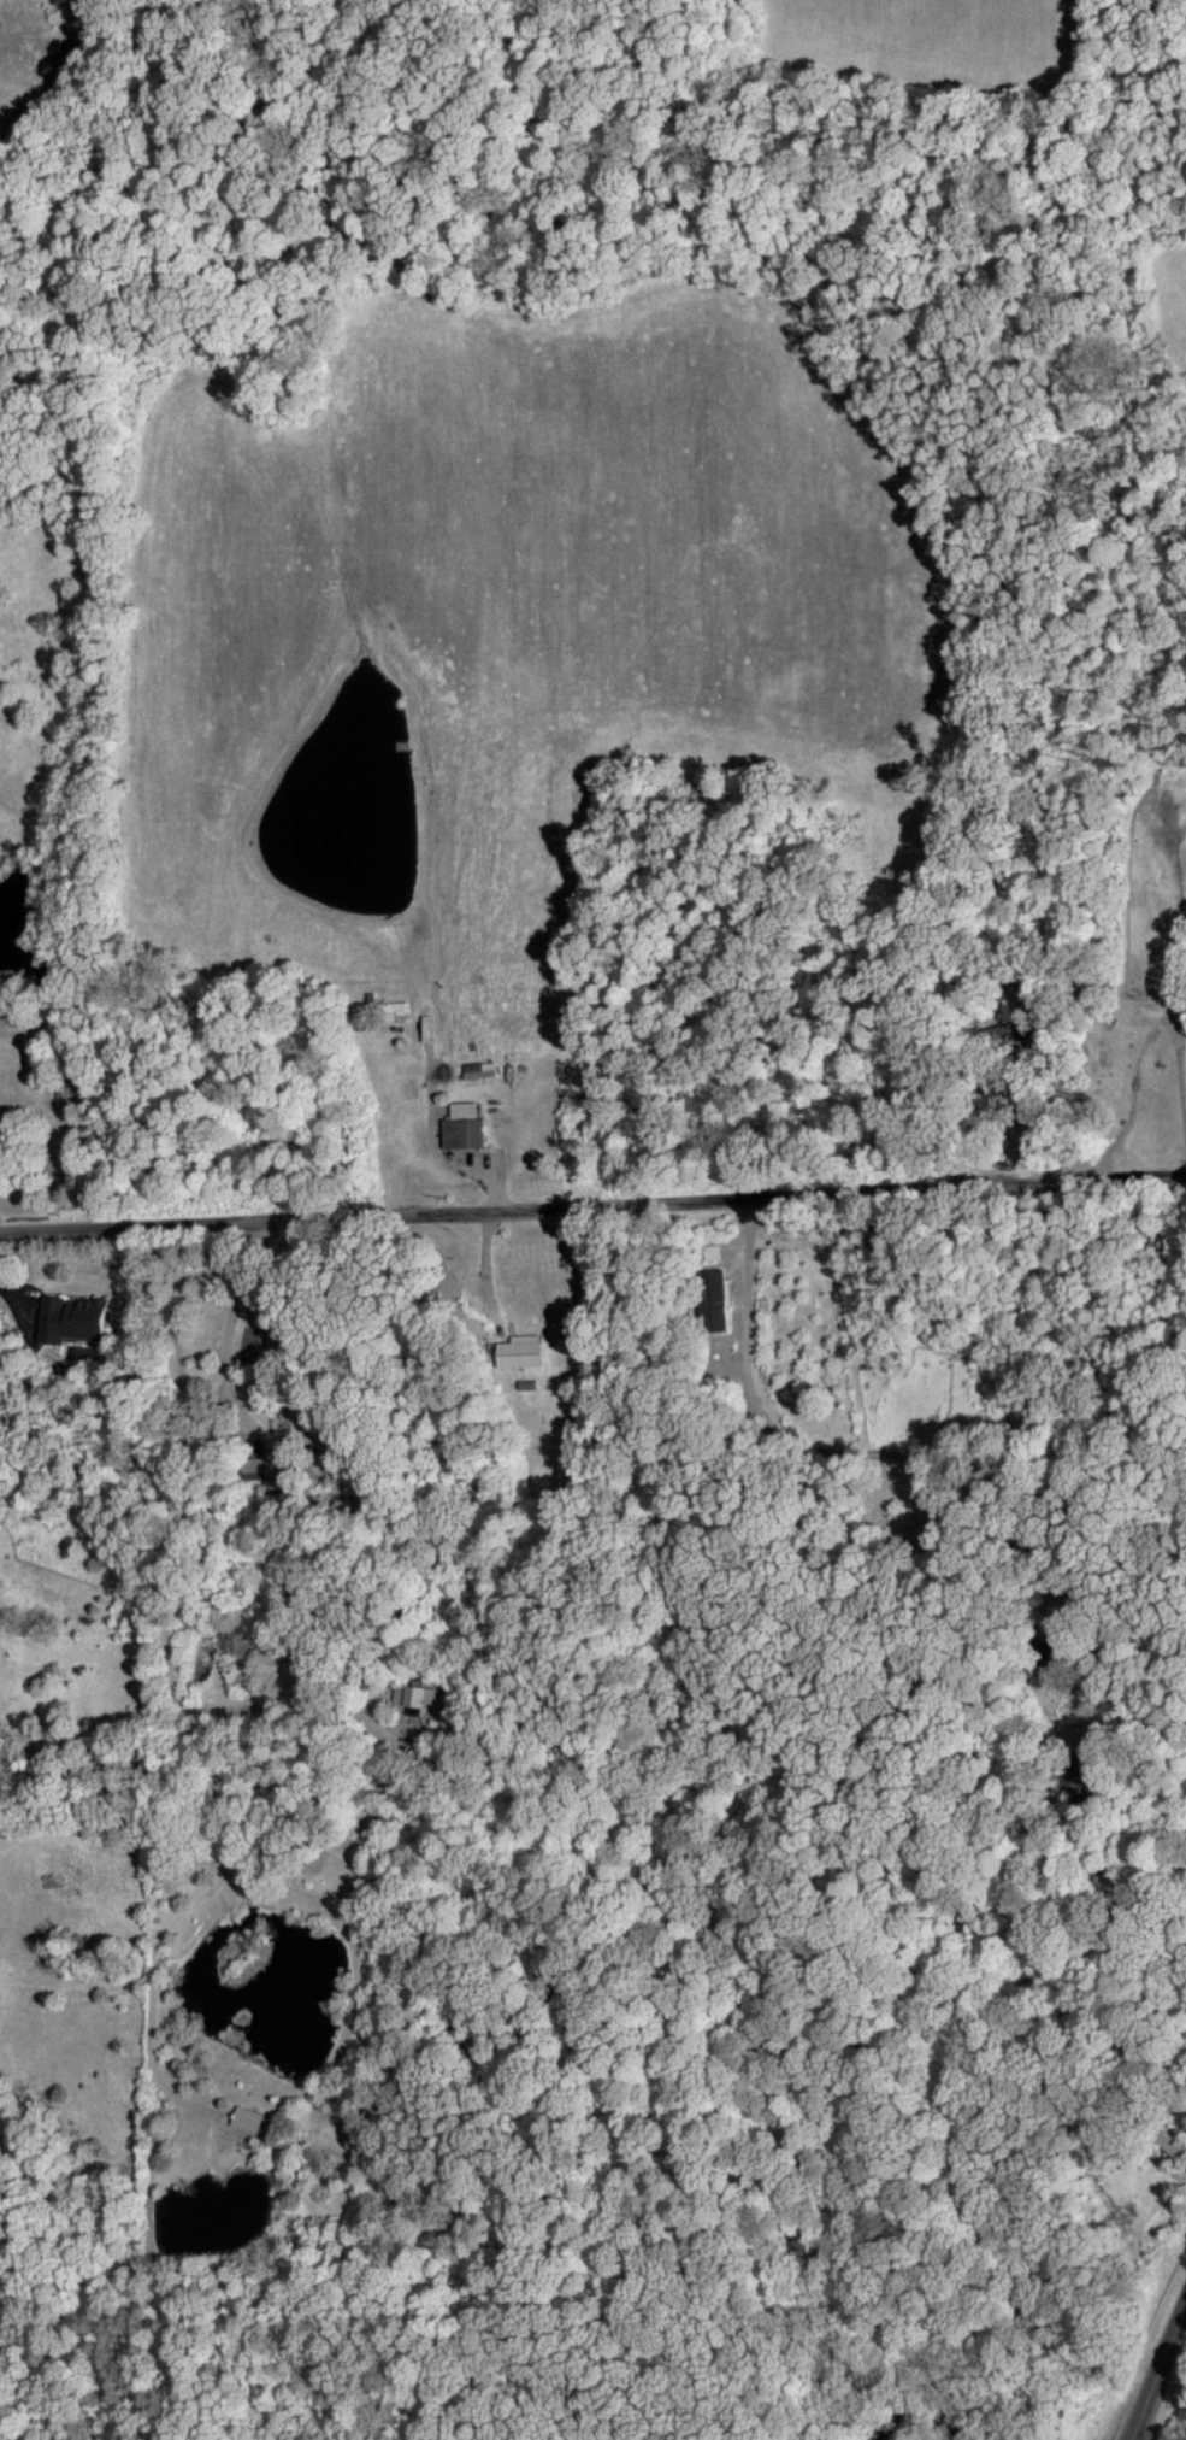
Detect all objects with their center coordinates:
road: (1179, 1065)
building: (480, 1069)
road: (1048, 1115)
building: (466, 1125)
road: (592, 1206)
building: (77, 1318)
road: (225, 1334)
building: (529, 1350)
building: (421, 1694)
park: (816, 1853)
building: (247, 2117)
road: (1157, 2362)

